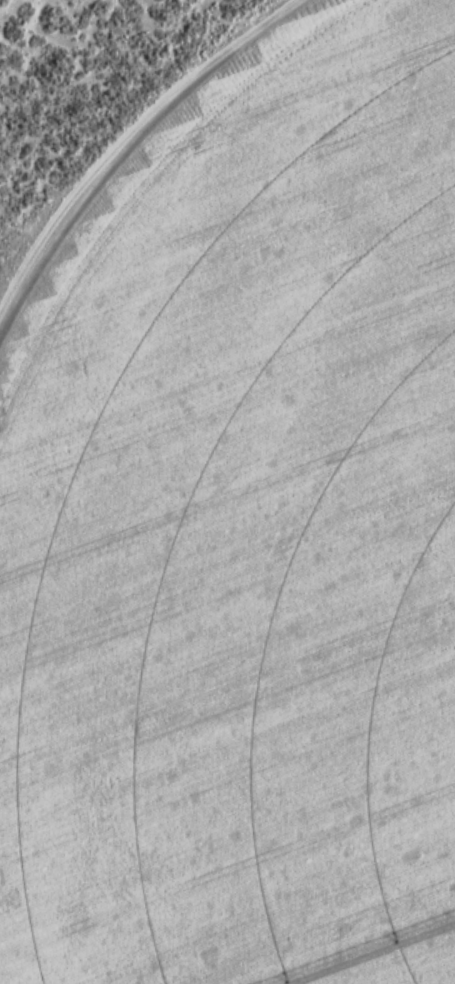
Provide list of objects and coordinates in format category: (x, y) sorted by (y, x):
crop: (241, 533)

